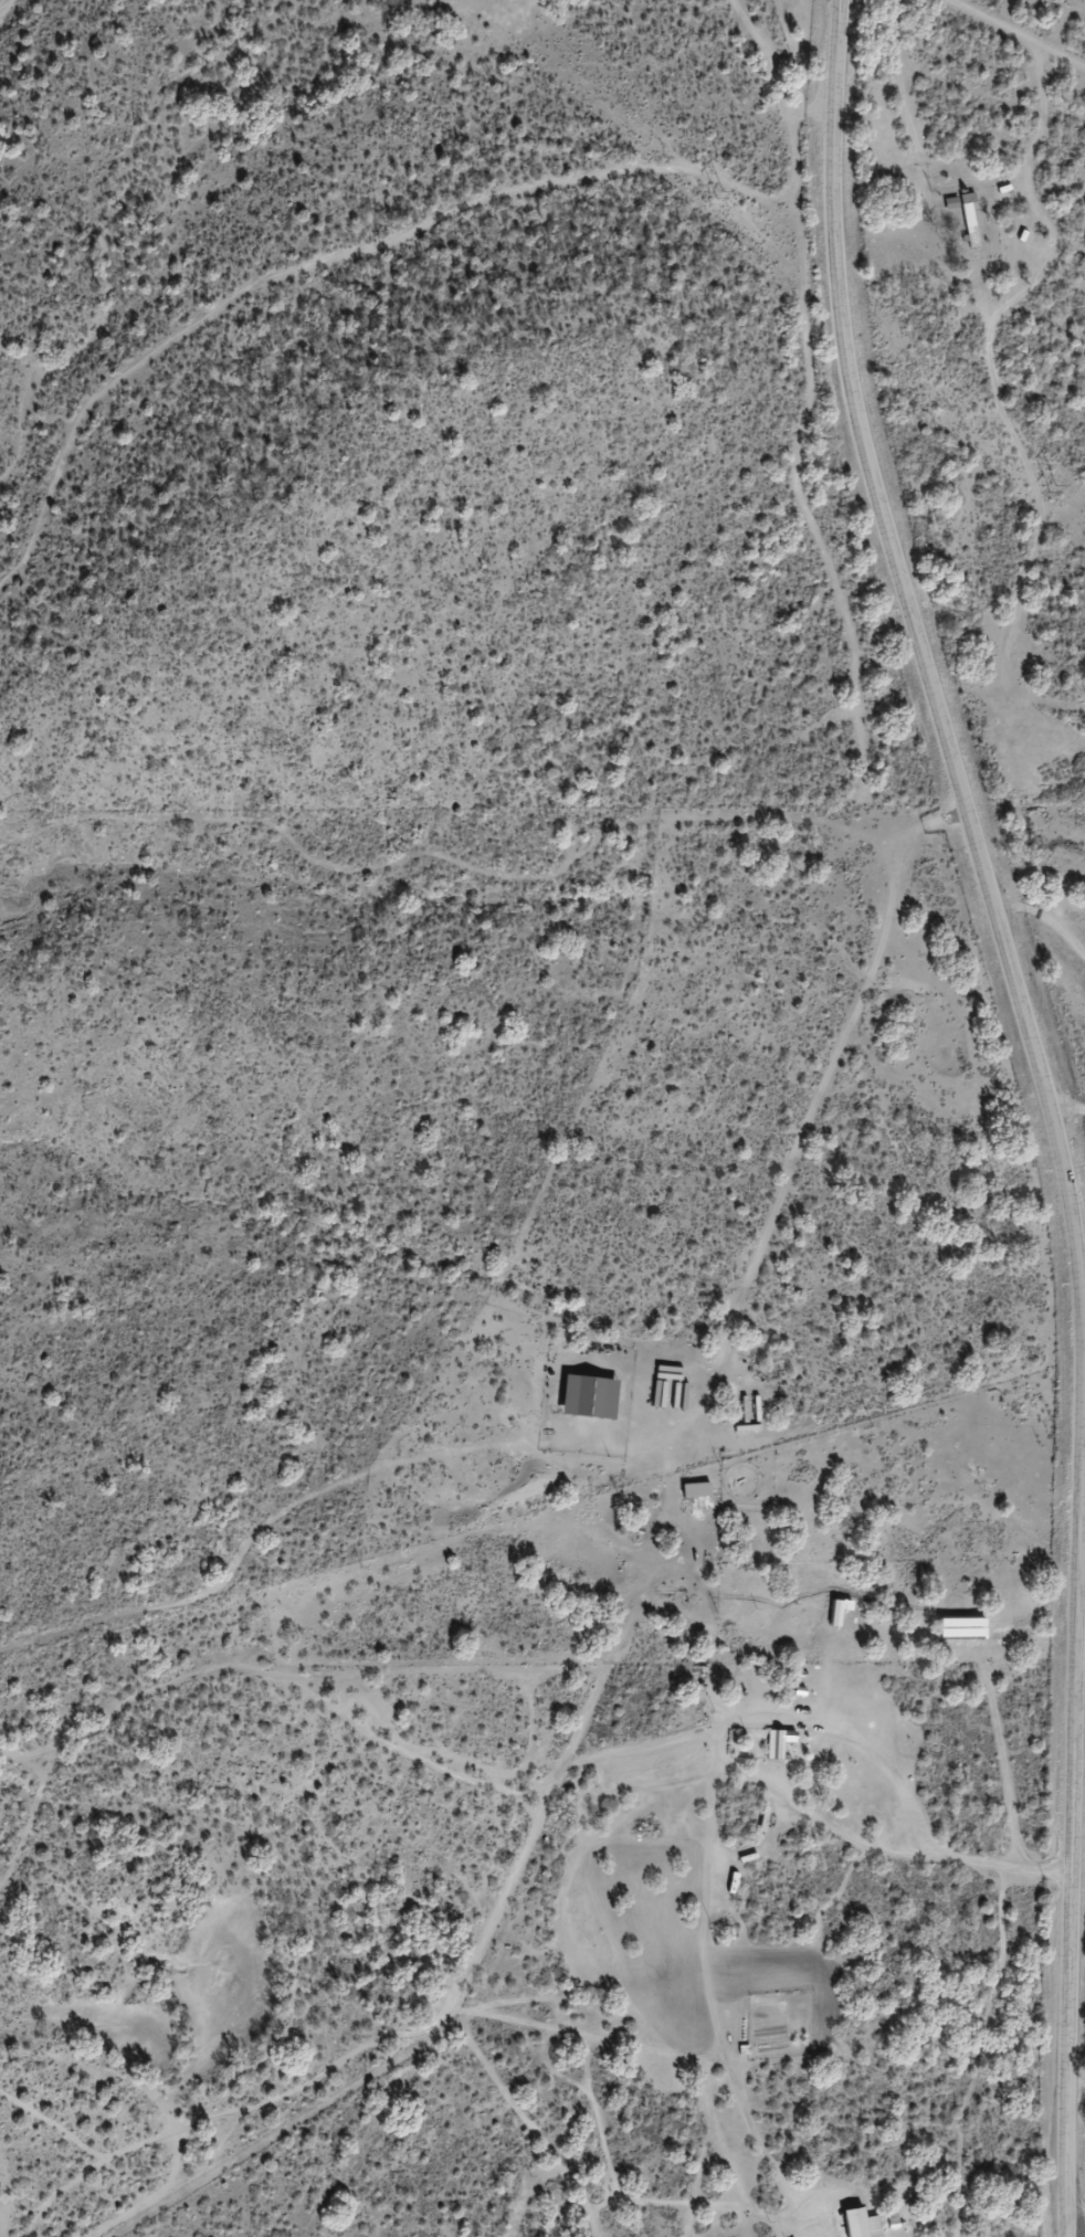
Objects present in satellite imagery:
road: (966, 29)
power tower: (709, 197)
building: (969, 222)
power tower: (1047, 486)
road: (1066, 1053)
road: (1049, 1106)
building: (586, 1396)
building: (693, 1490)
road: (688, 1554)
road: (284, 1726)
building: (778, 1743)
building: (858, 2224)

